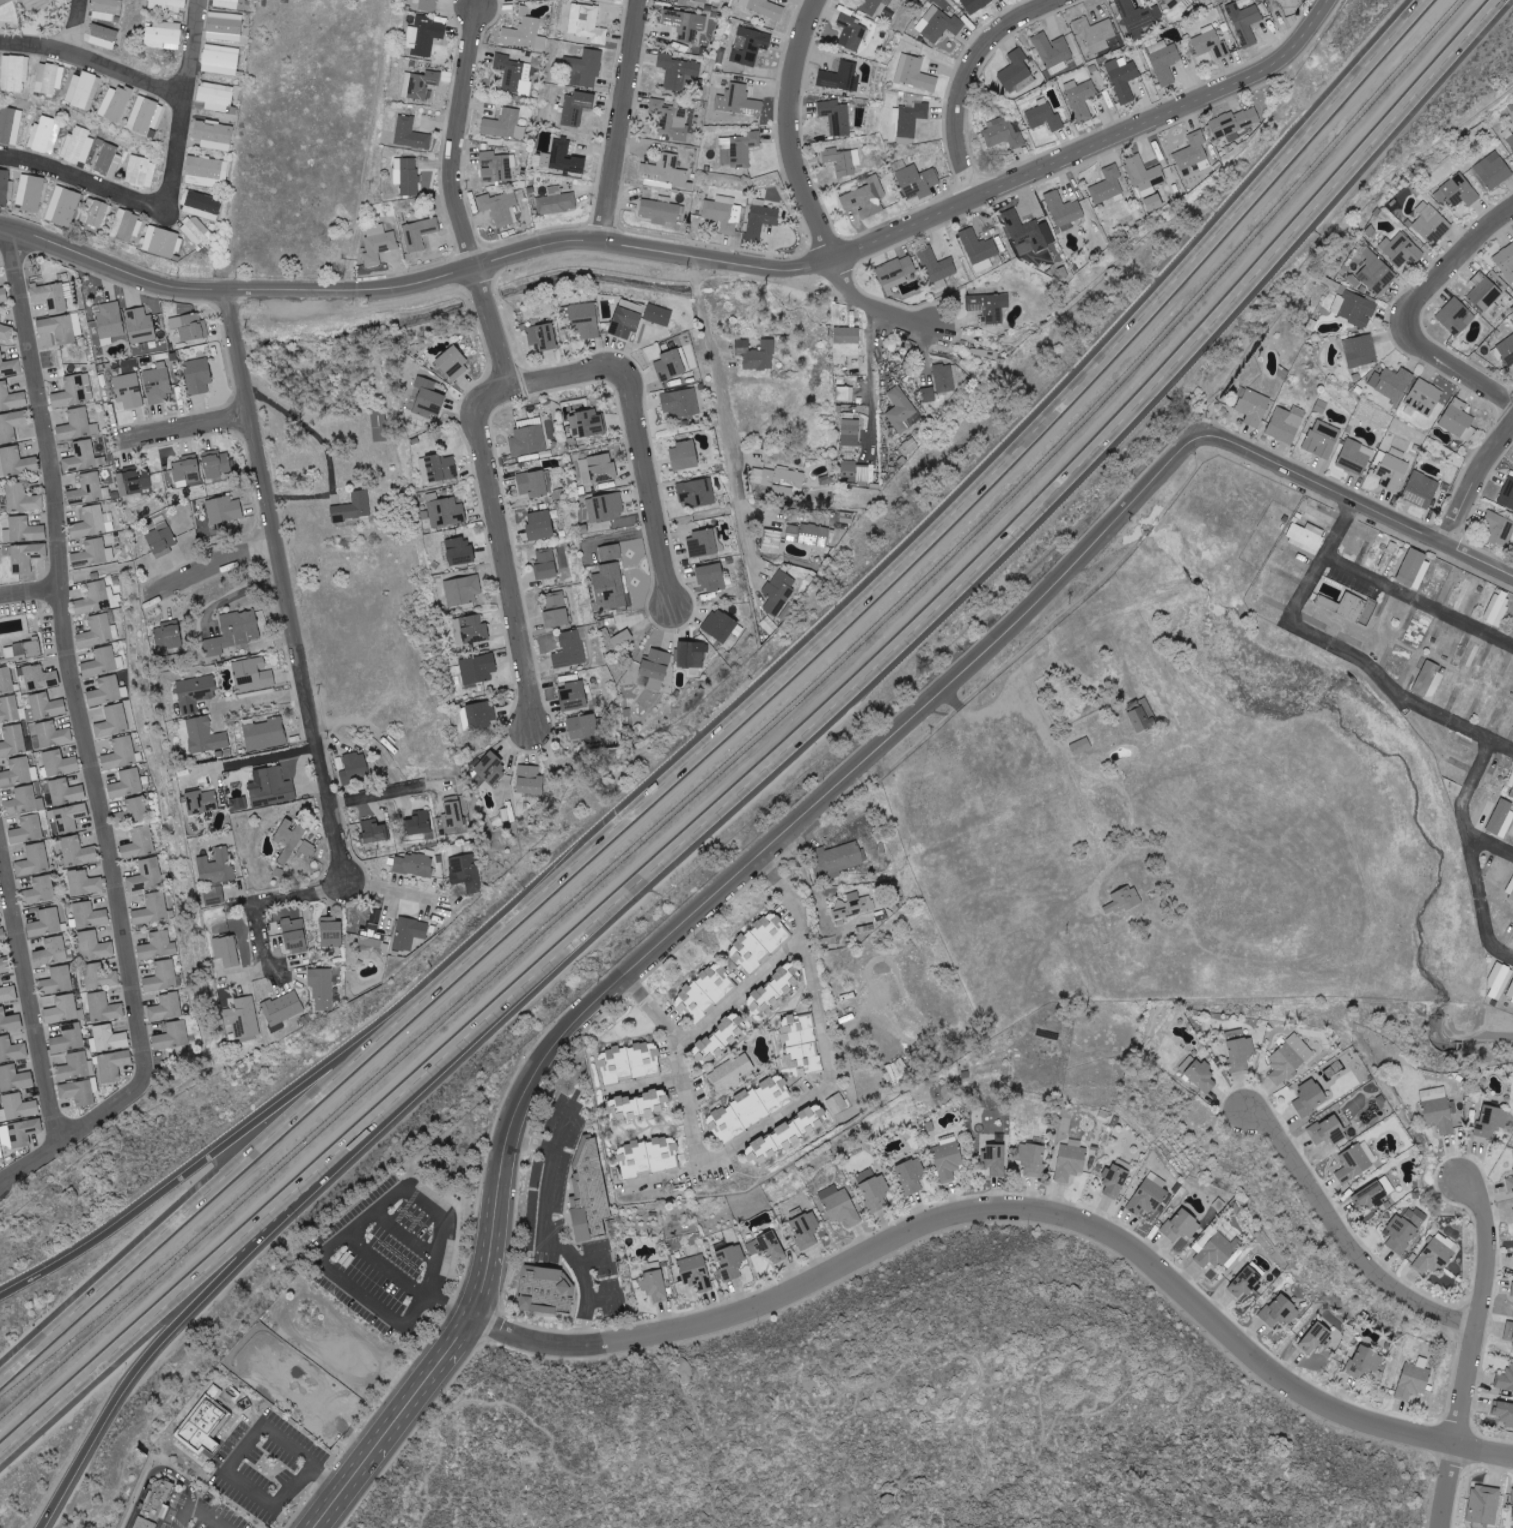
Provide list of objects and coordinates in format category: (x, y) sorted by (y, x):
building: (519, 0)
building: (686, 1)
building: (4, 2)
building: (740, 3)
building: (1173, 3)
building: (226, 4)
building: (167, 5)
building: (429, 5)
building: (977, 5)
building: (872, 6)
building: (106, 9)
building: (766, 9)
building: (1138, 18)
building: (587, 23)
building: (1245, 23)
building: (685, 24)
building: (939, 25)
building: (224, 27)
road: (88, 30)
building: (526, 33)
building: (1095, 33)
building: (853, 34)
building: (424, 35)
building: (164, 36)
building: (103, 37)
building: (1211, 43)
building: (749, 46)
building: (1053, 52)
building: (220, 60)
building: (1164, 62)
road: (96, 63)
building: (585, 68)
building: (678, 71)
building: (15, 73)
building: (1015, 73)
building: (514, 74)
building: (914, 74)
building: (841, 77)
building: (49, 79)
road: (974, 80)
building: (1122, 80)
building: (419, 85)
building: (83, 90)
building: (216, 97)
building: (1080, 98)
building: (738, 101)
building: (115, 104)
building: (576, 108)
building: (836, 117)
building: (909, 118)
building: (1044, 118)
building: (670, 120)
road: (625, 122)
building: (1234, 124)
building: (10, 125)
building: (504, 125)
building: (408, 134)
building: (1003, 134)
building: (213, 135)
building: (45, 136)
building: (78, 146)
building: (738, 150)
road: (1113, 150)
road: (1050, 153)
building: (1194, 153)
building: (562, 159)
building: (108, 160)
building: (843, 161)
building: (496, 167)
building: (1493, 171)
building: (141, 172)
building: (664, 173)
building: (406, 176)
building: (1145, 176)
building: (917, 182)
road: (789, 186)
building: (1108, 187)
building: (5, 188)
road: (179, 192)
building: (30, 193)
building: (1457, 193)
road: (811, 196)
building: (865, 198)
road: (458, 199)
building: (556, 201)
building: (1153, 203)
building: (202, 206)
building: (63, 207)
building: (500, 208)
building: (659, 211)
building: (1064, 211)
building: (723, 213)
building: (97, 215)
building: (760, 221)
road: (886, 222)
building: (1431, 224)
building: (127, 225)
building: (196, 231)
building: (1027, 233)
building: (418, 234)
building: (163, 242)
building: (378, 245)
building: (979, 250)
building: (1401, 250)
road: (695, 258)
building: (1505, 263)
building: (936, 265)
building: (896, 273)
building: (1376, 273)
building: (3, 295)
building: (1485, 295)
building: (52, 296)
building: (988, 306)
building: (633, 307)
building: (1354, 309)
road: (1416, 312)
building: (657, 315)
building: (0, 317)
building: (1455, 317)
building: (585, 320)
building: (109, 322)
building: (625, 323)
building: (140, 326)
building: (187, 327)
building: (61, 328)
building: (6, 333)
building: (546, 338)
building: (846, 342)
building: (1360, 351)
building: (1506, 351)
building: (756, 355)
building: (452, 364)
building: (670, 366)
building: (9, 367)
building: (197, 377)
building: (944, 378)
road: (873, 381)
building: (157, 384)
building: (1391, 384)
building: (128, 391)
building: (74, 392)
building: (844, 395)
building: (928, 395)
building: (11, 398)
building: (429, 403)
building: (681, 404)
building: (1252, 406)
building: (900, 410)
road: (725, 412)
building: (1458, 420)
building: (586, 424)
building: (77, 425)
building: (1285, 425)
building: (11, 426)
building: (379, 426)
road: (184, 428)
building: (850, 432)
road: (640, 435)
building: (528, 438)
building: (1322, 440)
road: (328, 453)
building: (683, 457)
building: (1355, 457)
building: (80, 458)
building: (16, 463)
building: (216, 464)
building: (598, 470)
building: (186, 471)
building: (1391, 472)
building: (133, 481)
building: (157, 481)
building: (778, 481)
road: (1474, 482)
building: (532, 484)
building: (88, 490)
building: (1421, 490)
building: (697, 494)
building: (1507, 495)
building: (22, 500)
road: (1359, 500)
building: (353, 508)
building: (606, 508)
building: (224, 510)
building: (445, 511)
road: (963, 511)
road: (773, 512)
building: (1318, 514)
building: (95, 522)
building: (539, 526)
building: (1499, 530)
building: (23, 531)
building: (807, 535)
building: (161, 537)
building: (1306, 537)
building: (772, 542)
building: (702, 543)
building: (459, 552)
building: (610, 553)
building: (92, 554)
road: (503, 555)
building: (26, 557)
road: (210, 565)
building: (545, 565)
building: (1414, 569)
building: (711, 578)
road: (285, 586)
building: (609, 587)
building: (462, 591)
building: (779, 592)
road: (32, 594)
road: (237, 595)
building: (96, 598)
road: (1419, 598)
road: (938, 605)
building: (1345, 607)
building: (1498, 608)
building: (555, 611)
building: (719, 626)
building: (472, 629)
building: (99, 630)
building: (233, 633)
building: (167, 636)
road: (1343, 647)
building: (27, 648)
building: (570, 649)
building: (692, 655)
building: (1468, 655)
building: (103, 662)
building: (478, 670)
building: (654, 670)
building: (252, 674)
building: (40, 678)
building: (6, 680)
building: (1429, 680)
building: (105, 691)
building: (195, 692)
building: (573, 697)
road: (259, 698)
road: (954, 700)
building: (30, 708)
road: (81, 709)
building: (478, 715)
building: (112, 721)
building: (1140, 721)
building: (583, 728)
building: (52, 734)
building: (264, 734)
building: (205, 736)
building: (13, 740)
building: (1081, 746)
building: (120, 753)
road: (252, 759)
building: (59, 763)
building: (354, 767)
building: (490, 770)
building: (18, 772)
road: (1098, 776)
building: (530, 779)
building: (1511, 782)
building: (127, 783)
building: (65, 791)
road: (375, 793)
road: (829, 794)
building: (1511, 794)
building: (22, 800)
building: (201, 801)
building: (136, 807)
road: (1467, 807)
building: (452, 811)
building: (70, 817)
building: (1500, 818)
building: (417, 822)
building: (27, 829)
building: (373, 831)
building: (292, 840)
building: (139, 842)
building: (77, 851)
building: (839, 853)
building: (33, 860)
building: (417, 864)
building: (466, 872)
building: (146, 875)
building: (215, 875)
road: (815, 881)
building: (84, 882)
building: (41, 889)
building: (1510, 891)
road: (398, 893)
road: (263, 898)
building: (1123, 900)
road: (1484, 905)
building: (852, 907)
building: (152, 909)
building: (88, 915)
building: (45, 922)
building: (331, 932)
building: (372, 933)
building: (409, 933)
building: (294, 935)
building: (2, 936)
building: (760, 941)
building: (157, 945)
building: (94, 946)
building: (227, 950)
building: (51, 951)
building: (5, 965)
building: (100, 976)
building: (161, 976)
building: (58, 979)
building: (1499, 982)
building: (321, 988)
road: (34, 990)
building: (772, 991)
building: (704, 992)
road: (740, 993)
building: (1510, 993)
building: (8, 994)
building: (103, 1007)
building: (166, 1007)
building: (63, 1010)
building: (282, 1010)
building: (242, 1020)
building: (9, 1021)
building: (171, 1036)
road: (827, 1036)
building: (720, 1037)
road: (1485, 1037)
building: (68, 1038)
building: (108, 1039)
building: (800, 1047)
building: (11, 1049)
building: (1241, 1053)
building: (1289, 1059)
building: (630, 1062)
building: (113, 1065)
building: (75, 1067)
building: (731, 1072)
building: (1199, 1074)
building: (14, 1078)
road: (648, 1083)
building: (78, 1093)
building: (1310, 1097)
road: (689, 1098)
building: (837, 1103)
building: (637, 1105)
building: (17, 1107)
building: (752, 1107)
building: (1437, 1109)
building: (1491, 1121)
road: (564, 1127)
building: (1328, 1131)
building: (19, 1133)
building: (786, 1135)
road: (225, 1144)
building: (1512, 1149)
building: (1, 1153)
building: (664, 1153)
building: (1033, 1158)
building: (635, 1159)
building: (995, 1159)
building: (948, 1160)
building: (1071, 1160)
building: (1355, 1161)
building: (911, 1175)
road: (34, 1176)
building: (1115, 1180)
road: (223, 1184)
building: (1510, 1184)
building: (873, 1190)
building: (588, 1193)
building: (1149, 1195)
building: (1370, 1197)
building: (839, 1206)
road: (368, 1217)
road: (1077, 1219)
building: (1181, 1226)
building: (804, 1228)
building: (1404, 1230)
road: (542, 1233)
road: (406, 1235)
road: (1344, 1236)
building: (768, 1247)
building: (1216, 1247)
parking lot: (387, 1253)
building: (1436, 1255)
road: (590, 1257)
building: (730, 1260)
road: (383, 1267)
building: (693, 1268)
building: (1248, 1283)
building: (654, 1286)
building: (544, 1290)
building: (1512, 1290)
road: (602, 1295)
road: (161, 1309)
building: (1280, 1311)
road: (461, 1327)
building: (1509, 1332)
road: (167, 1333)
road: (531, 1339)
building: (1316, 1339)
road: (1472, 1350)
building: (1364, 1362)
building: (1414, 1379)
building: (1505, 1380)
building: (1504, 1412)
road: (332, 1420)
building: (203, 1421)
road: (244, 1454)
parking lot: (267, 1466)
road: (156, 1472)
road: (345, 1490)
building: (153, 1504)
building: (1484, 1505)
road: (198, 1510)
parking lot: (197, 1513)
building: (1512, 1515)

